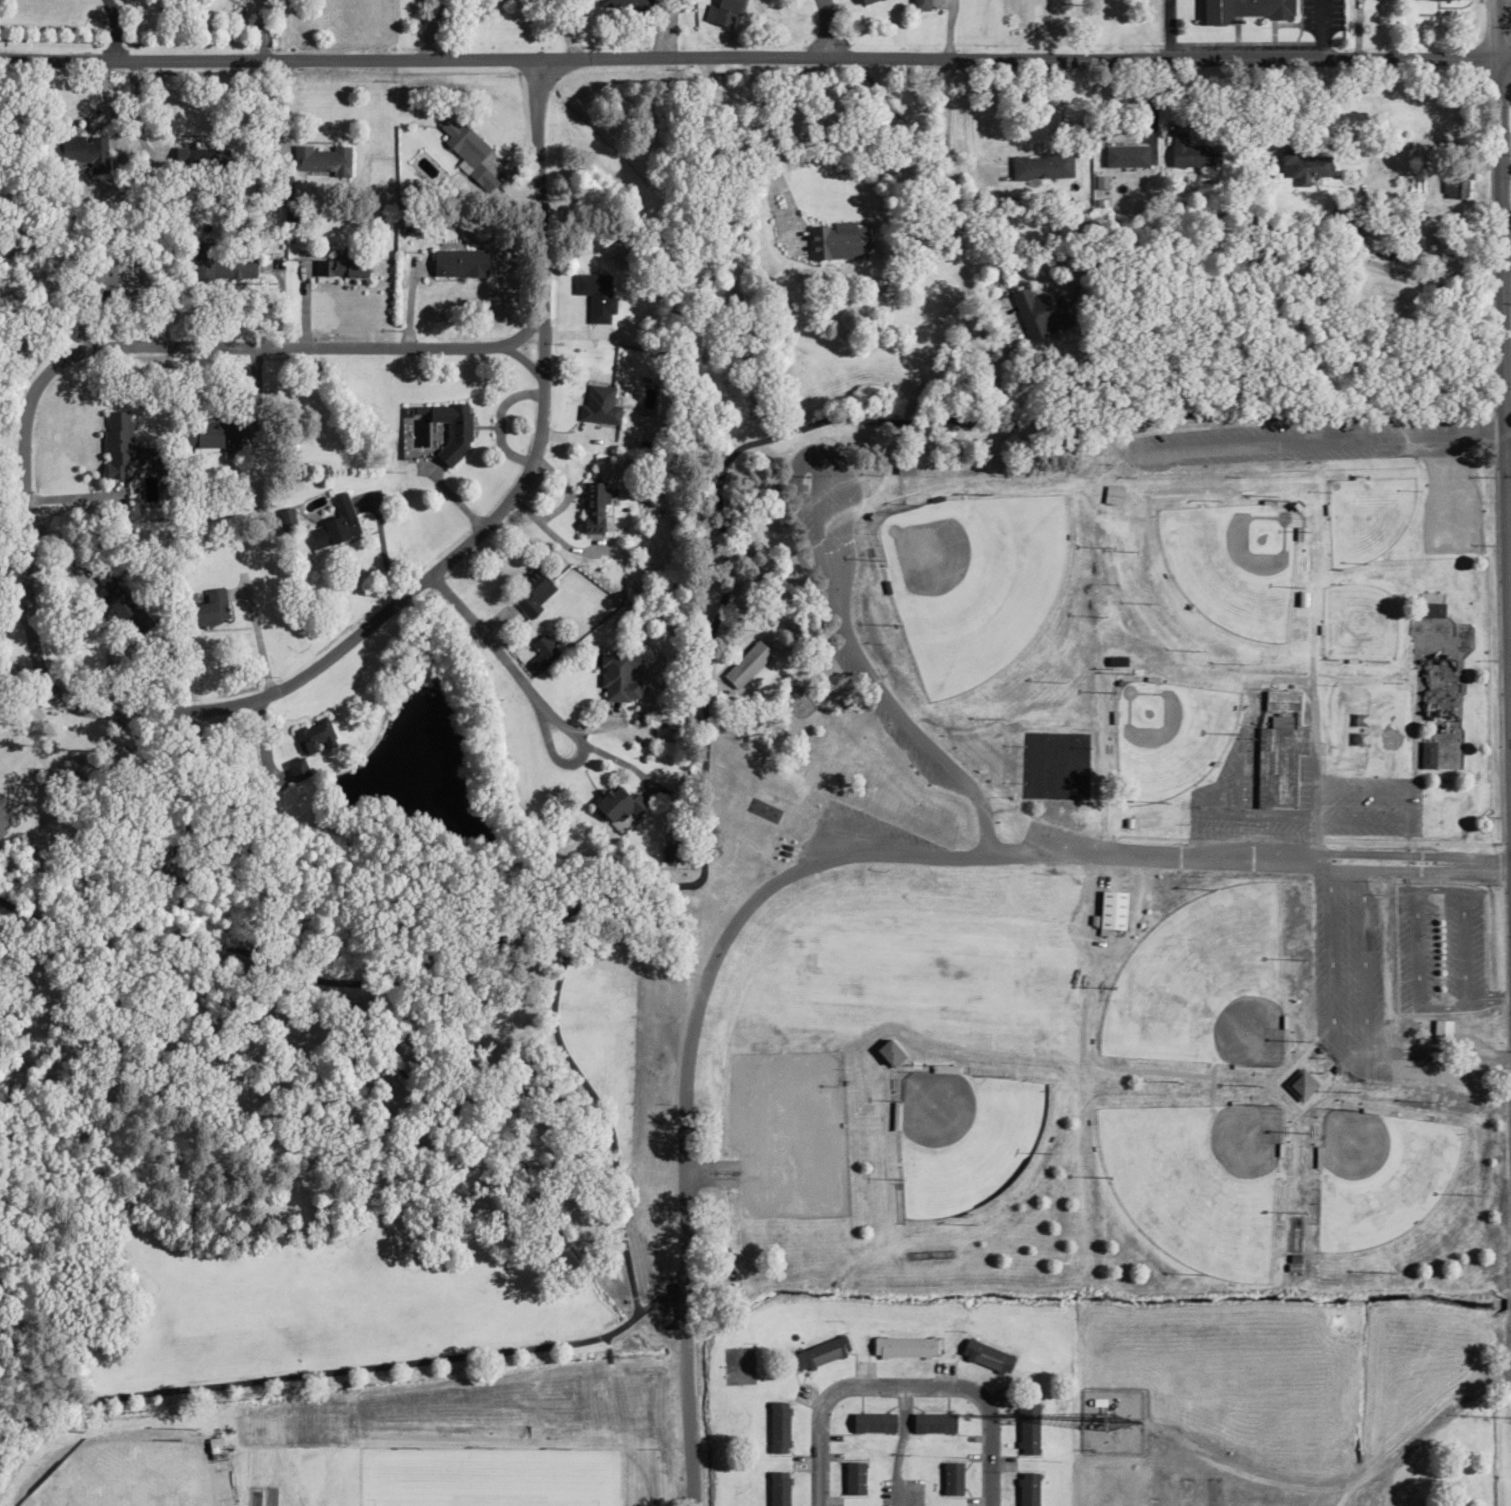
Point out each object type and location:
building: (865, 1)
building: (630, 5)
building: (921, 5)
building: (1244, 10)
building: (726, 12)
road: (826, 27)
road: (423, 29)
road: (755, 56)
building: (462, 141)
building: (1192, 151)
building: (83, 152)
building: (1126, 155)
building: (319, 158)
building: (1304, 164)
building: (1046, 165)
building: (1454, 186)
road: (541, 202)
building: (838, 240)
building: (459, 261)
building: (339, 265)
building: (595, 295)
building: (1040, 311)
building: (599, 404)
building: (451, 428)
building: (209, 434)
road: (1326, 440)
building: (116, 444)
road: (1505, 453)
road: (1508, 453)
building: (904, 467)
building: (1112, 494)
building: (592, 507)
park: (1365, 516)
building: (330, 525)
park: (1234, 562)
park: (971, 580)
building: (530, 591)
road: (390, 606)
building: (208, 608)
building: (1429, 609)
park: (1357, 622)
building: (541, 651)
building: (1115, 661)
park: (1187, 662)
building: (746, 664)
road: (861, 669)
road: (532, 698)
building: (1281, 700)
park: (1352, 726)
park: (1386, 727)
building: (313, 736)
park: (1168, 736)
building: (1427, 754)
building: (1278, 760)
park: (1065, 767)
building: (617, 806)
road: (1033, 855)
building: (1111, 909)
park: (1203, 980)
building: (1441, 1031)
building: (888, 1052)
building: (1299, 1084)
park: (967, 1143)
park: (1379, 1174)
park: (1197, 1179)
building: (903, 1347)
building: (819, 1353)
building: (986, 1356)
road: (901, 1384)
building: (873, 1422)
building: (933, 1423)
building: (778, 1426)
building: (1028, 1428)
building: (213, 1443)
road: (898, 1444)
park: (122, 1470)
building: (853, 1478)
building: (951, 1478)
building: (778, 1488)
building: (1027, 1488)

